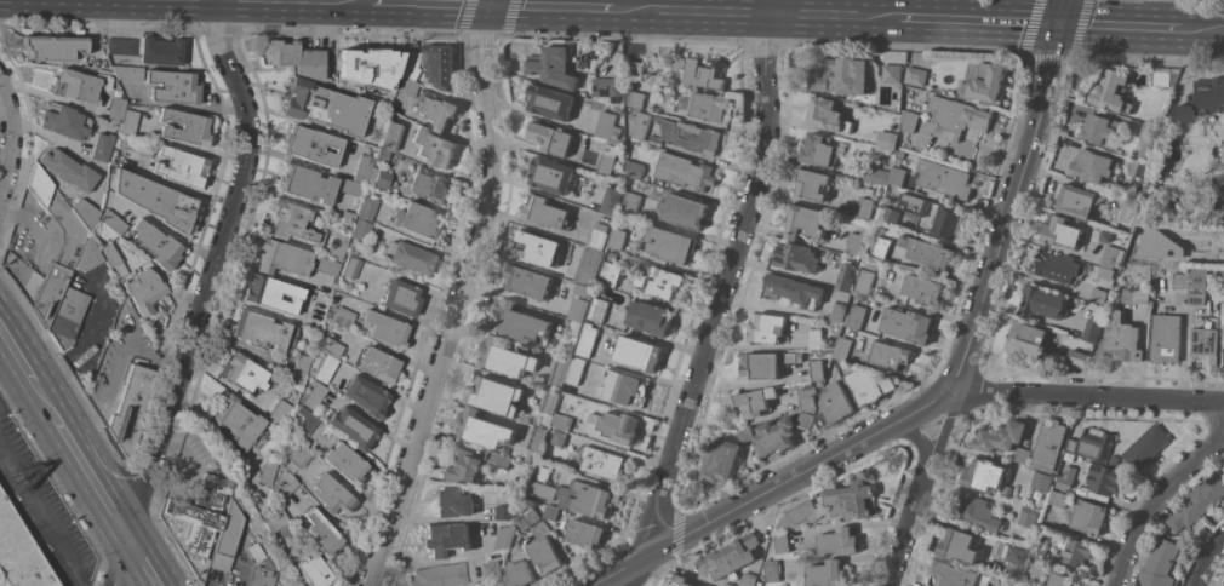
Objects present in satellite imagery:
road: (322, 0)
road: (331, 0)
road: (434, 4)
traffic signals: (493, 5)
road: (774, 6)
road: (551, 7)
road: (691, 11)
road: (1062, 11)
road: (834, 15)
road: (977, 19)
traffic signals: (1059, 23)
road: (1119, 24)
road: (1201, 27)
building: (53, 46)
building: (120, 46)
building: (161, 51)
building: (296, 58)
building: (411, 64)
building: (441, 64)
building: (554, 65)
building: (637, 67)
building: (365, 68)
building: (702, 71)
building: (127, 73)
building: (890, 73)
building: (916, 74)
building: (840, 75)
building: (1163, 75)
building: (985, 82)
building: (81, 85)
building: (406, 86)
building: (173, 87)
building: (611, 90)
building: (1111, 91)
building: (637, 98)
building: (1202, 99)
building: (551, 100)
building: (704, 105)
building: (325, 107)
building: (115, 109)
building: (436, 109)
building: (828, 115)
building: (959, 115)
building: (909, 120)
building: (64, 122)
building: (127, 122)
building: (641, 123)
building: (608, 125)
building: (185, 127)
building: (1102, 128)
building: (904, 133)
building: (388, 134)
building: (691, 134)
road: (11, 136)
road: (46, 137)
building: (551, 137)
building: (886, 139)
building: (1146, 140)
building: (900, 143)
building: (135, 145)
building: (311, 145)
building: (101, 146)
building: (433, 146)
building: (819, 149)
building: (383, 155)
building: (608, 159)
building: (1092, 165)
building: (181, 167)
building: (1138, 167)
building: (635, 168)
building: (899, 168)
building: (68, 170)
building: (361, 170)
building: (685, 171)
building: (551, 174)
building: (877, 174)
building: (379, 177)
building: (944, 179)
building: (305, 184)
building: (429, 184)
building: (813, 184)
road: (179, 188)
building: (351, 188)
building: (869, 190)
building: (154, 200)
building: (612, 200)
building: (1077, 200)
building: (631, 202)
road: (1008, 206)
building: (865, 207)
building: (366, 208)
building: (684, 209)
building: (1128, 209)
building: (545, 212)
building: (85, 213)
building: (348, 216)
building: (936, 216)
building: (890, 217)
building: (417, 220)
building: (805, 220)
building: (292, 222)
building: (113, 223)
building: (360, 229)
building: (1062, 231)
building: (597, 235)
building: (1105, 235)
building: (617, 239)
building: (338, 243)
building: (670, 243)
building: (854, 243)
building: (155, 245)
building: (533, 245)
building: (1138, 246)
building: (881, 247)
building: (927, 251)
building: (68, 252)
building: (612, 254)
building: (1113, 255)
building: (87, 257)
building: (410, 257)
building: (796, 257)
building: (282, 258)
building: (113, 259)
building: (589, 264)
building: (1056, 265)
building: (326, 266)
building: (349, 266)
building: (610, 272)
building: (1104, 272)
building: (846, 276)
building: (864, 280)
building: (1182, 280)
building: (528, 281)
building: (660, 281)
building: (1197, 285)
building: (921, 287)
building: (583, 289)
building: (793, 289)
building: (144, 291)
road: (205, 294)
building: (271, 294)
building: (1136, 294)
building: (1099, 295)
road: (463, 297)
building: (400, 298)
road: (719, 301)
building: (1043, 301)
building: (81, 309)
building: (578, 309)
building: (599, 309)
building: (839, 311)
building: (341, 316)
building: (856, 316)
building: (651, 317)
building: (314, 323)
building: (521, 323)
building: (908, 323)
building: (573, 327)
building: (766, 327)
building: (385, 329)
building: (1092, 329)
building: (263, 331)
building: (1166, 337)
building: (814, 338)
building: (1122, 338)
building: (587, 339)
building: (1028, 339)
building: (1207, 343)
building: (331, 347)
building: (842, 347)
building: (639, 352)
building: (888, 355)
road: (16, 357)
building: (507, 357)
building: (1079, 358)
building: (765, 363)
building: (378, 364)
building: (325, 368)
building: (817, 369)
building: (299, 370)
building: (560, 370)
building: (580, 370)
building: (244, 373)
building: (869, 385)
building: (625, 387)
road: (16, 392)
building: (494, 395)
building: (807, 396)
road: (1088, 396)
building: (313, 397)
building: (366, 397)
road: (42, 402)
building: (550, 402)
building: (750, 402)
building: (834, 406)
road: (926, 406)
building: (131, 408)
building: (276, 410)
building: (805, 419)
building: (304, 420)
building: (561, 420)
building: (236, 421)
road: (943, 425)
building: (619, 426)
building: (353, 427)
building: (484, 429)
building: (744, 432)
road: (917, 436)
building: (1001, 436)
building: (559, 437)
building: (774, 437)
building: (538, 438)
building: (1096, 442)
building: (1071, 443)
building: (1048, 446)
building: (1146, 446)
building: (1023, 454)
building: (299, 456)
building: (498, 459)
building: (721, 459)
building: (1114, 459)
building: (602, 461)
building: (344, 463)
building: (462, 465)
building: (267, 471)
building: (984, 475)
building: (1103, 479)
building: (1042, 481)
building: (1062, 481)
road: (93, 482)
building: (286, 483)
building: (543, 489)
building: (331, 495)
building: (589, 498)
building: (1058, 498)
building: (850, 499)
road: (1156, 500)
building: (454, 501)
building: (1197, 502)
road: (749, 504)
building: (548, 510)
road: (42, 511)
building: (505, 511)
building: (977, 511)
building: (201, 513)
building: (799, 513)
building: (530, 516)
building: (1028, 516)
building: (1089, 516)
building: (274, 518)
road: (908, 523)
building: (587, 533)
building: (320, 534)
building: (505, 536)
building: (227, 539)
building: (446, 539)
building: (782, 540)
building: (839, 540)
building: (959, 545)
building: (1076, 551)
building: (19, 552)
building: (1039, 552)
building: (1018, 553)
building: (545, 555)
building: (730, 557)
road: (1207, 562)
road: (144, 564)
building: (1159, 564)
building: (492, 567)
building: (1036, 569)
building: (773, 570)
building: (313, 571)
building: (827, 573)
building: (519, 574)
building: (957, 574)
building: (439, 575)
building: (261, 576)
building: (749, 579)
building: (1059, 580)
building: (679, 581)
building: (276, 582)
building: (490, 584)
building: (728, 584)
building: (1045, 585)
building: (1223, 585)

